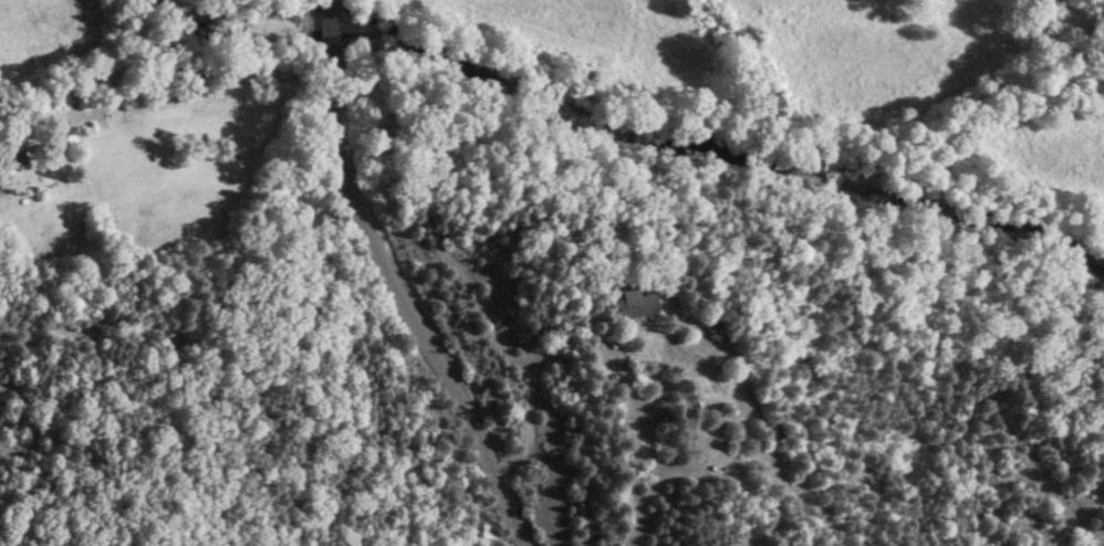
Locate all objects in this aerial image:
road: (189, 69)
building: (11, 156)
road: (395, 282)
building: (633, 303)
road: (708, 328)

